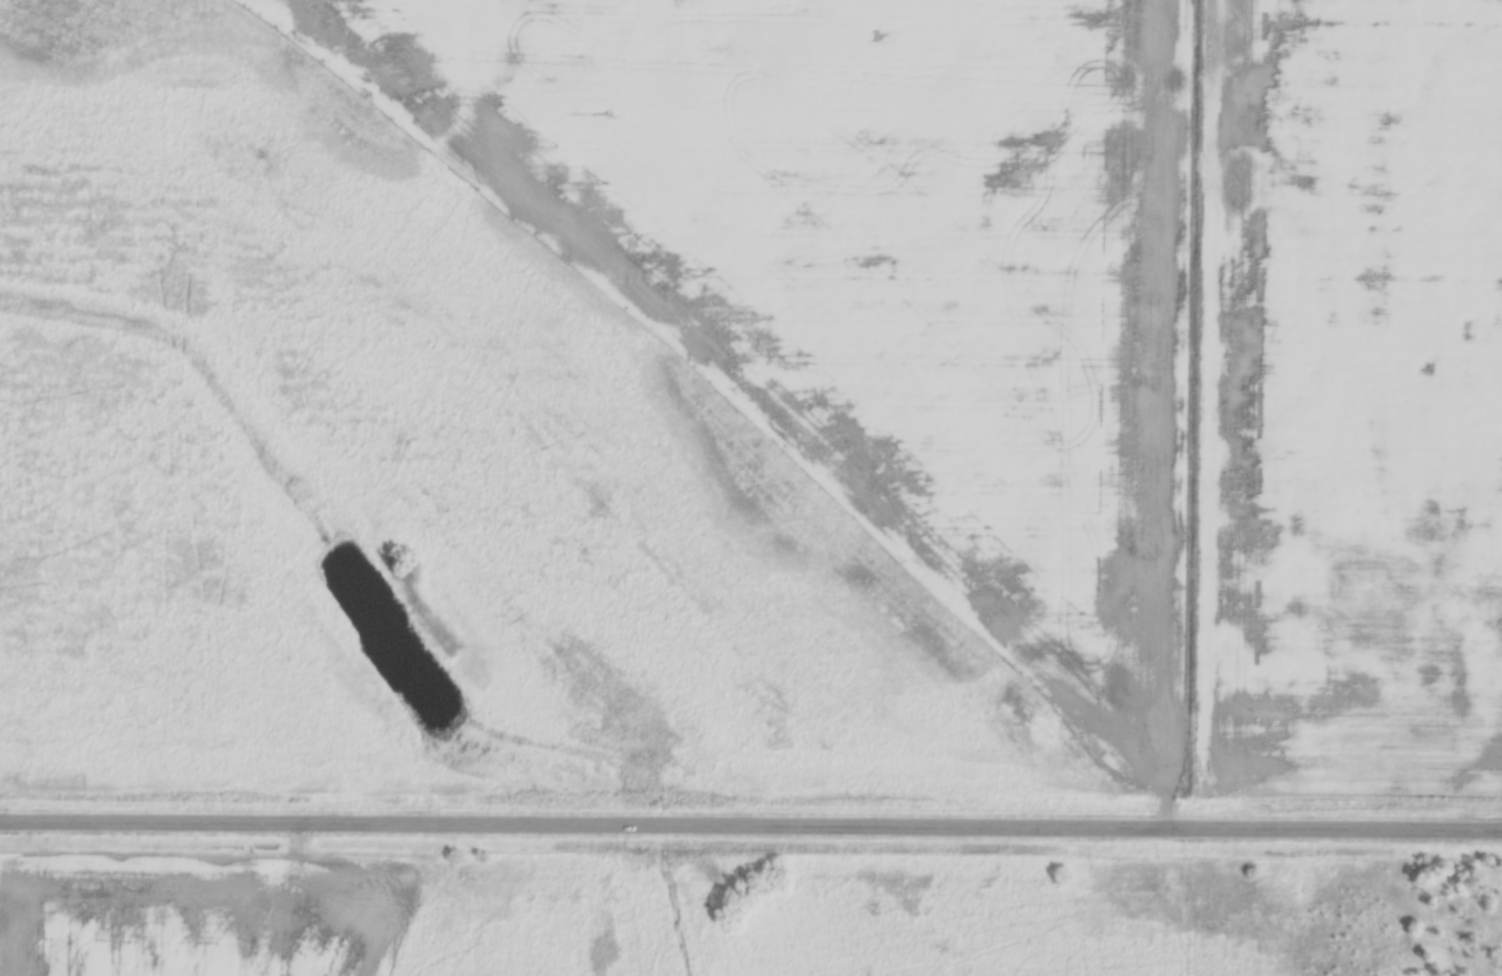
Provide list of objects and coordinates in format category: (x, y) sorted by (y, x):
airport: (601, 401)
road: (1189, 415)
road: (751, 826)

